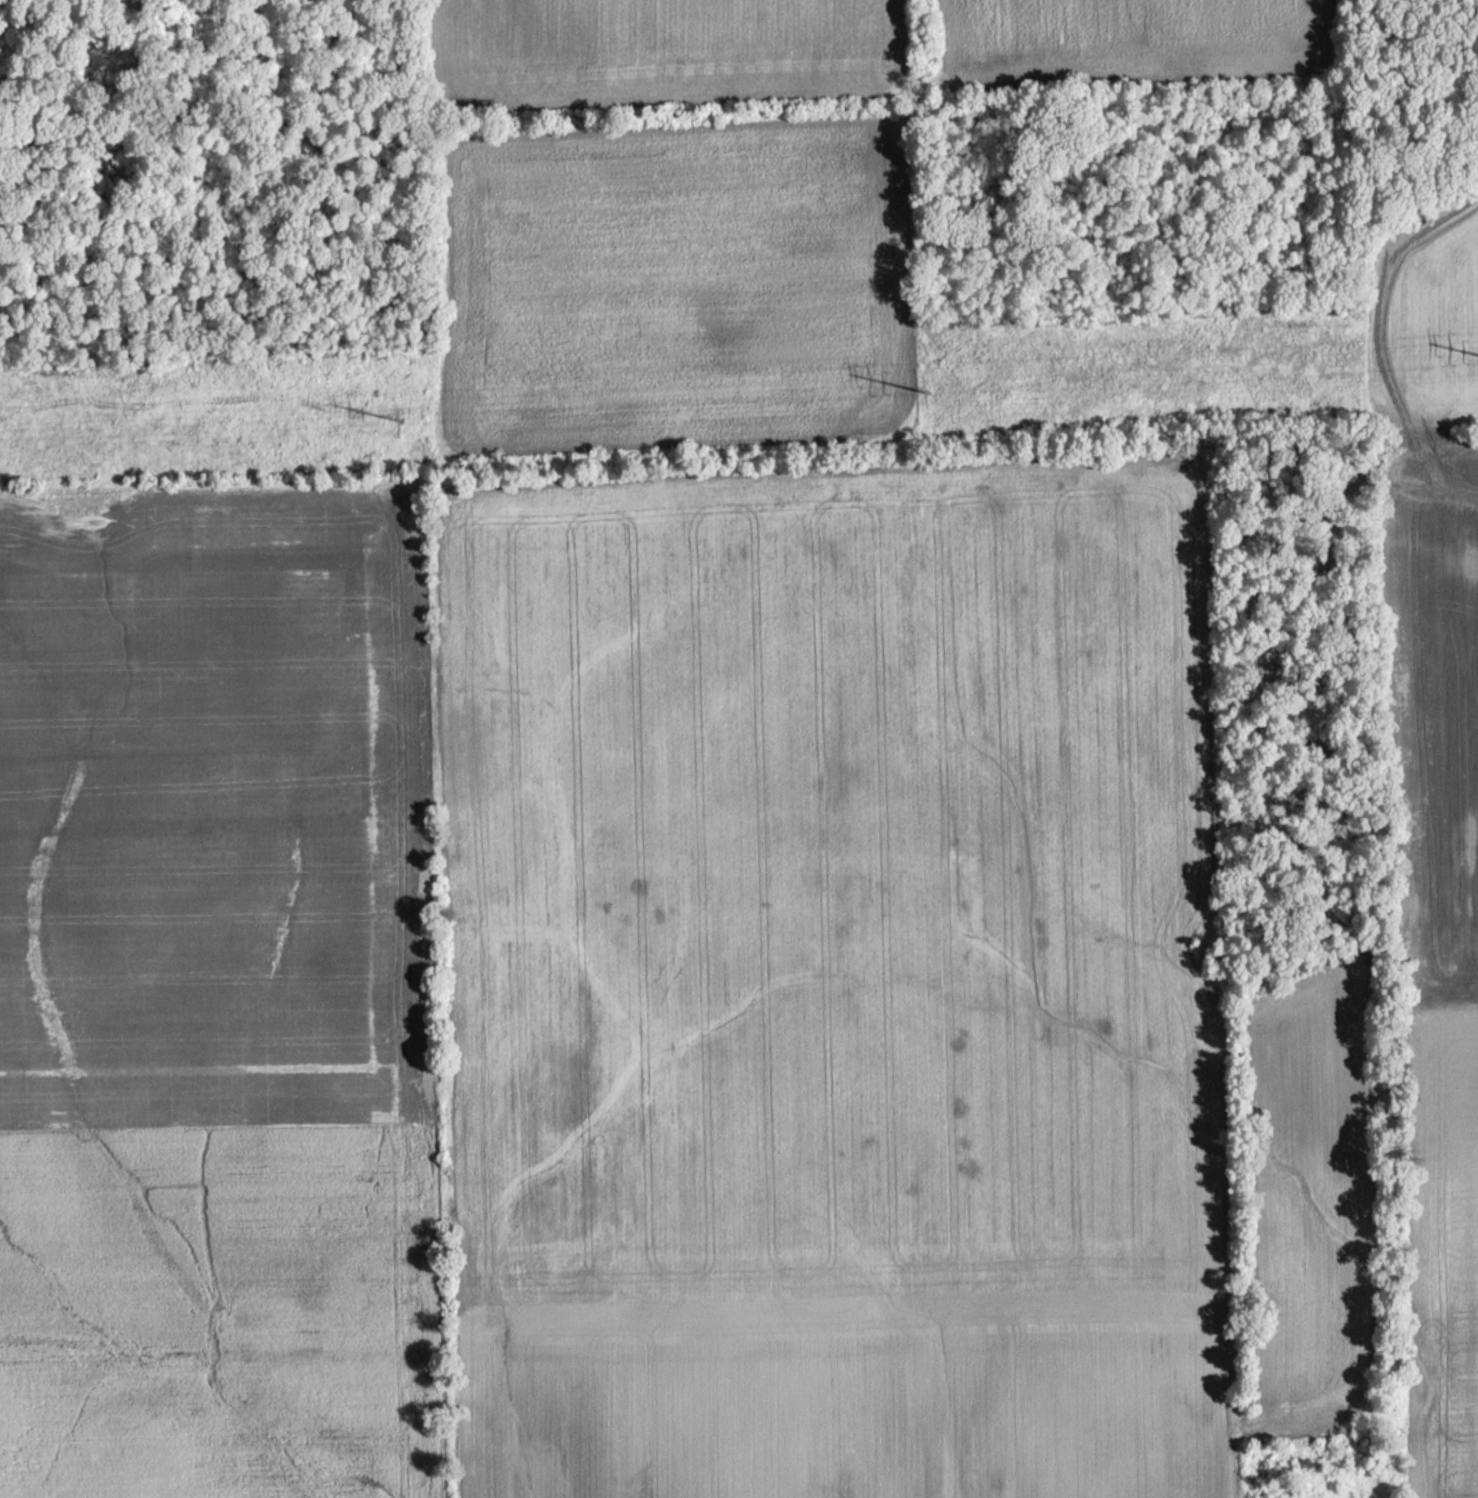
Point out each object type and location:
power tower: (921, 392)
power tower: (399, 422)

